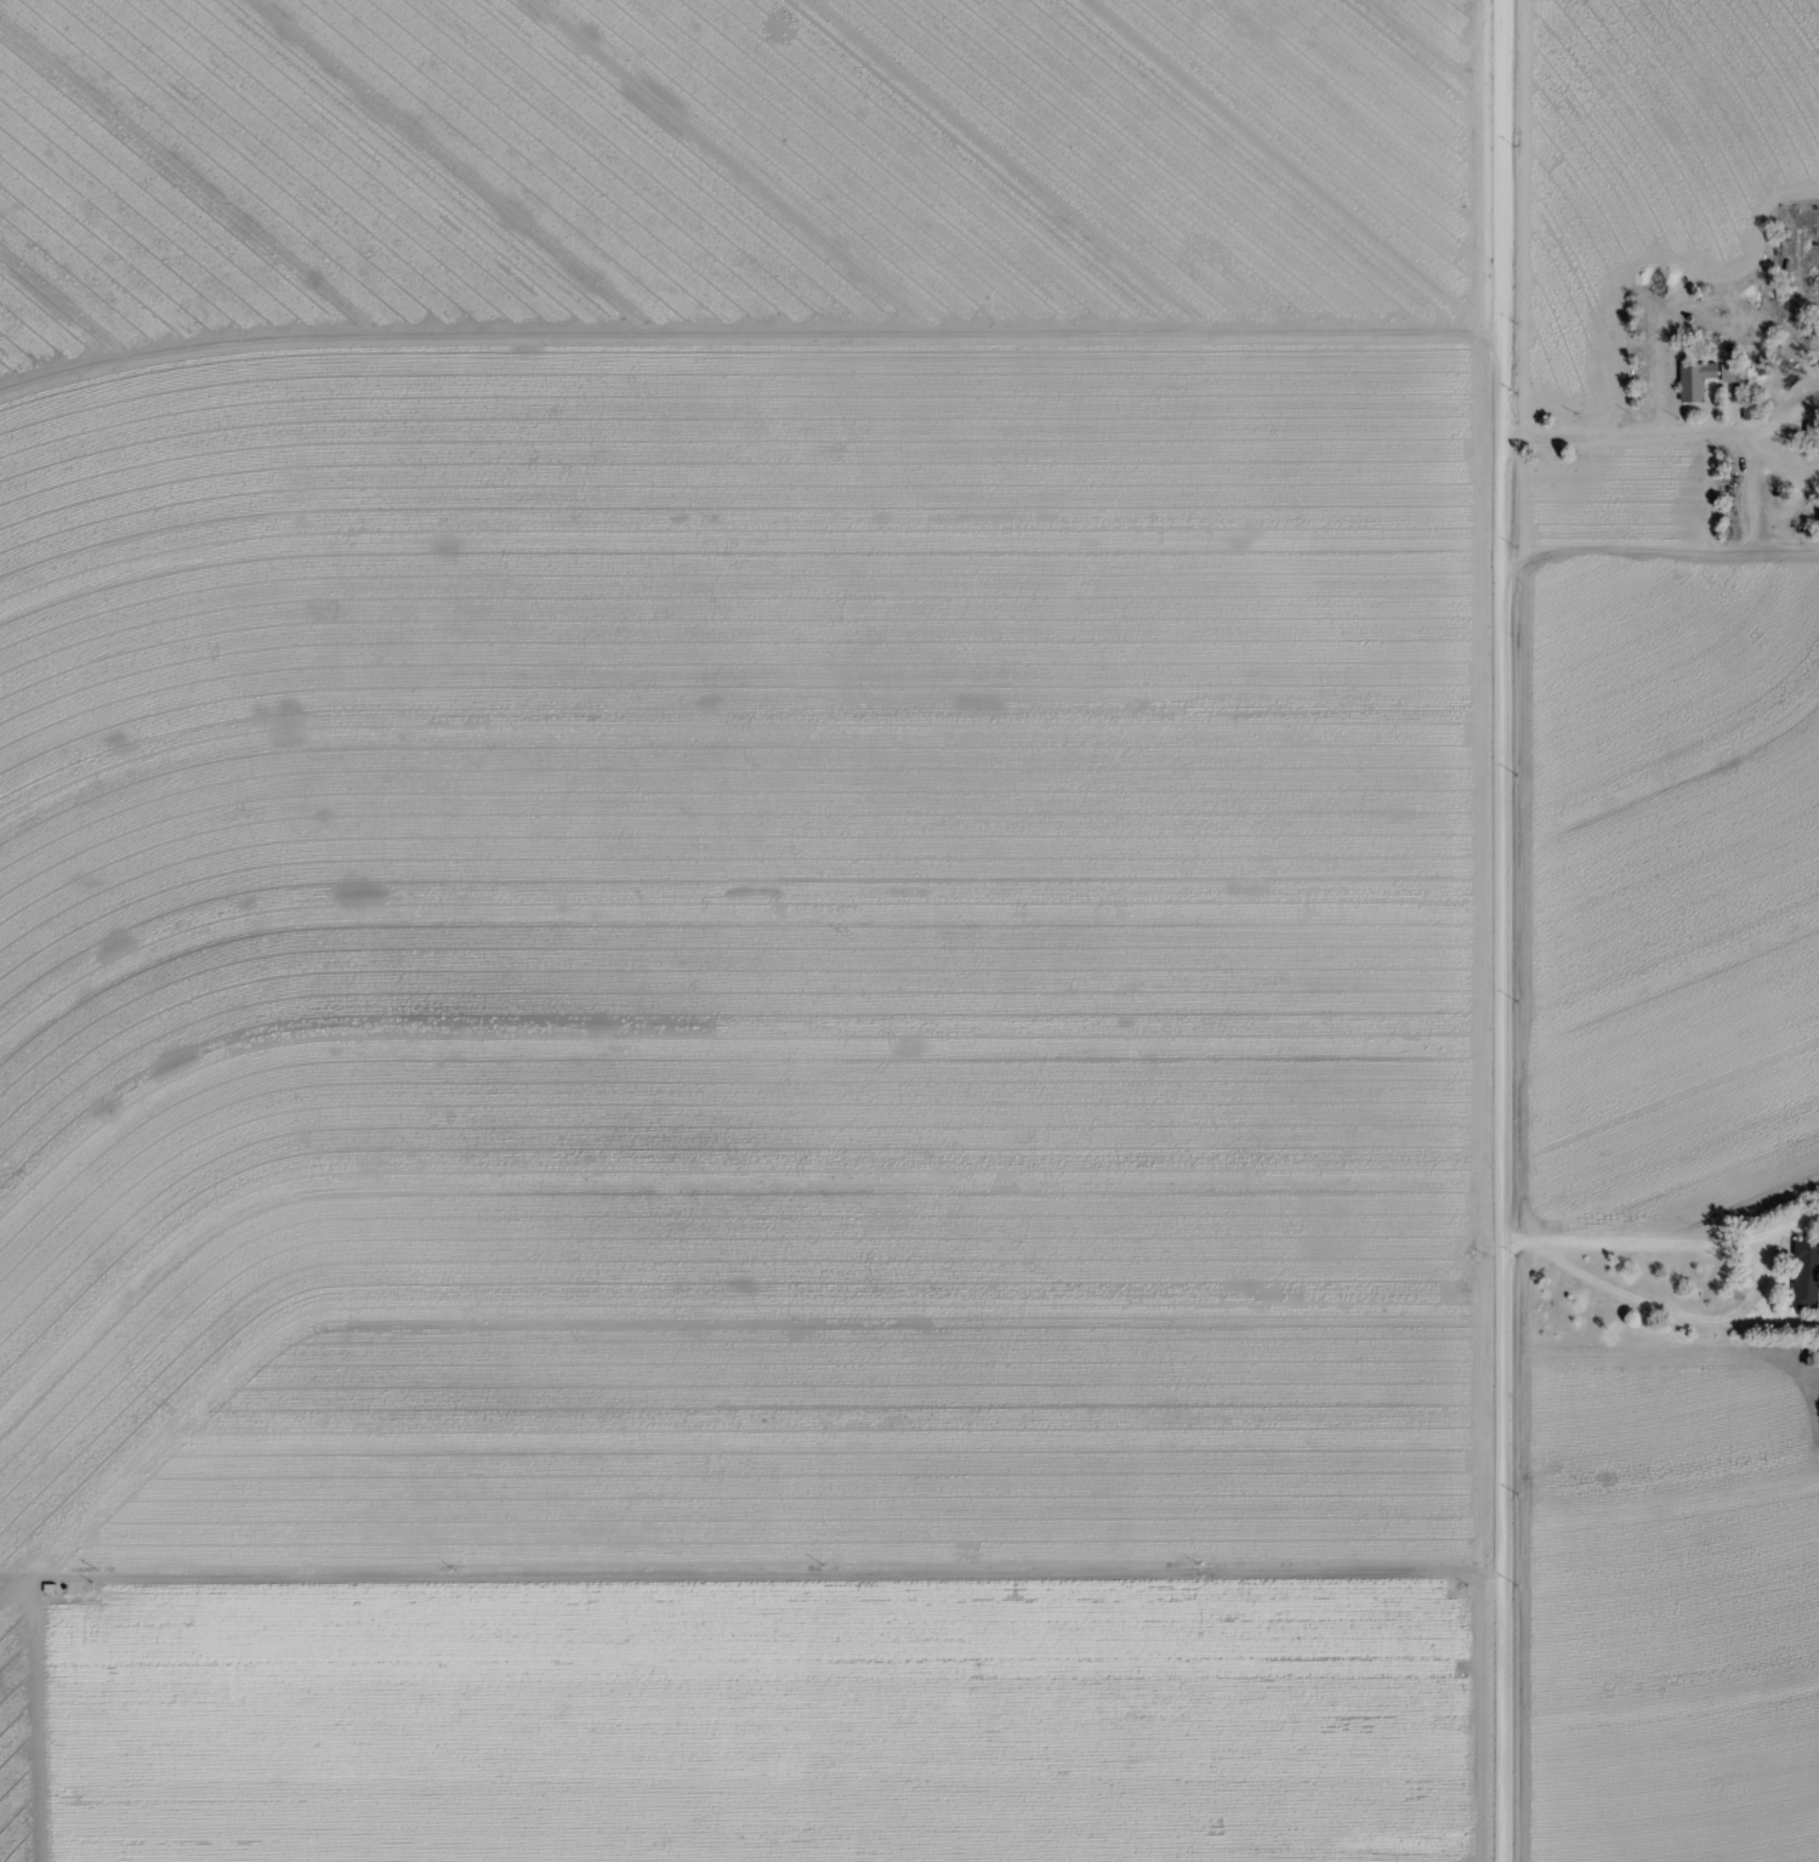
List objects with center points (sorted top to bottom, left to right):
building: (1690, 382)
road: (1494, 931)
road: (1632, 1248)

